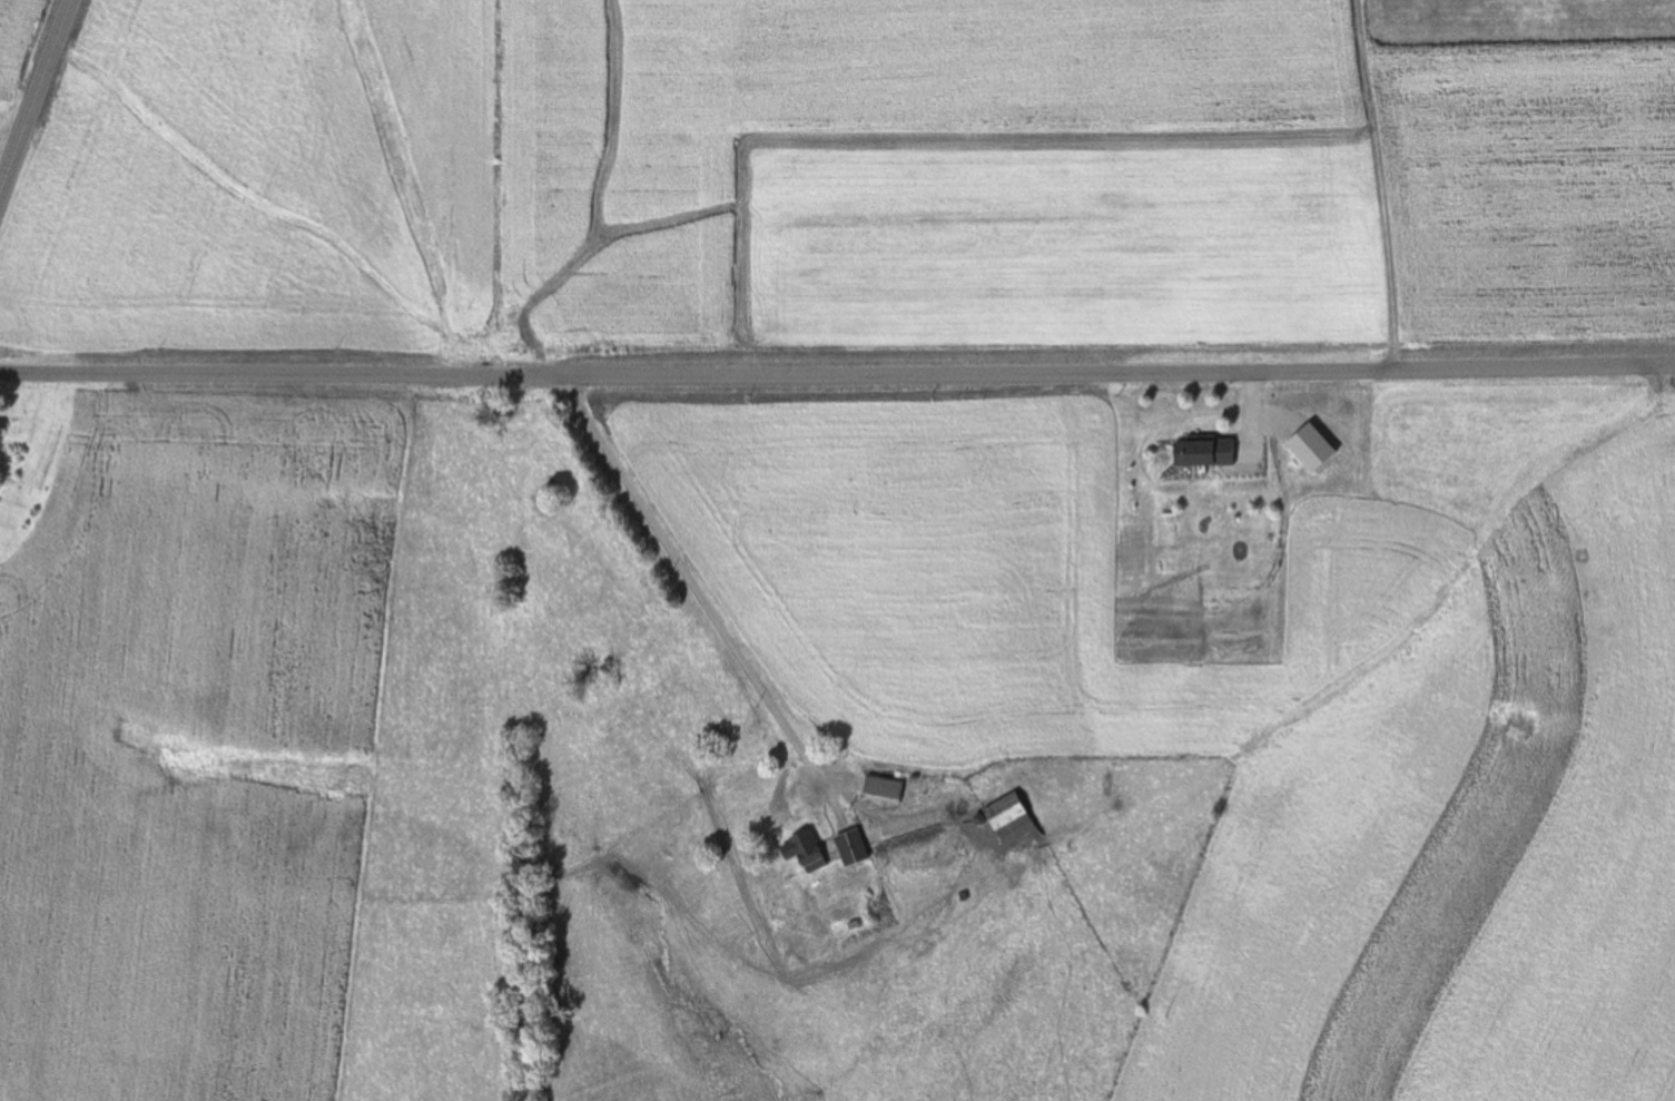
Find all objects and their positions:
road: (36, 99)
road: (837, 373)
building: (1, 426)
building: (1203, 452)
road: (722, 648)
building: (883, 788)
building: (1009, 819)
building: (851, 847)
building: (808, 851)

